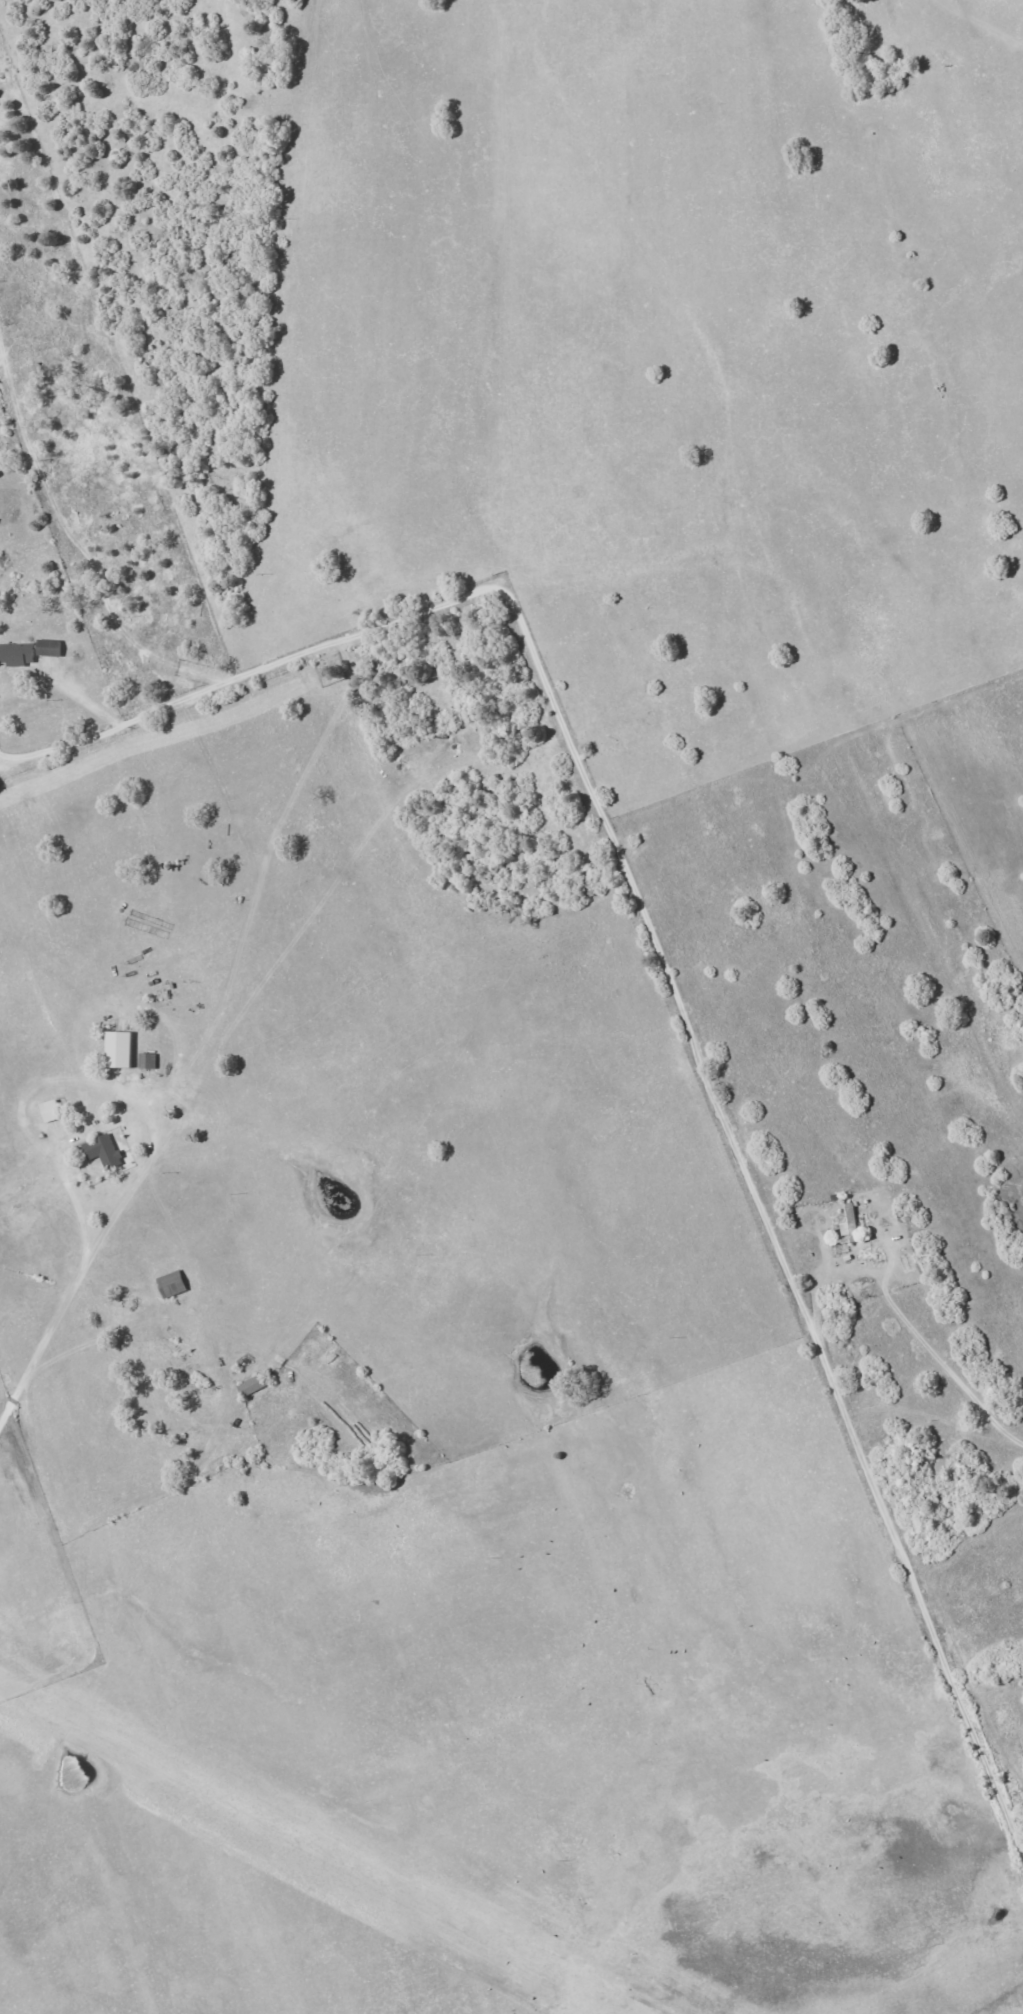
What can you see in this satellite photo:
road: (449, 301)
building: (45, 648)
building: (14, 654)
road: (102, 655)
road: (666, 975)
building: (116, 1050)
building: (145, 1061)
building: (47, 1111)
building: (101, 1151)
building: (847, 1222)
road: (49, 1243)
building: (169, 1285)
road: (898, 1321)
road: (692, 1436)

